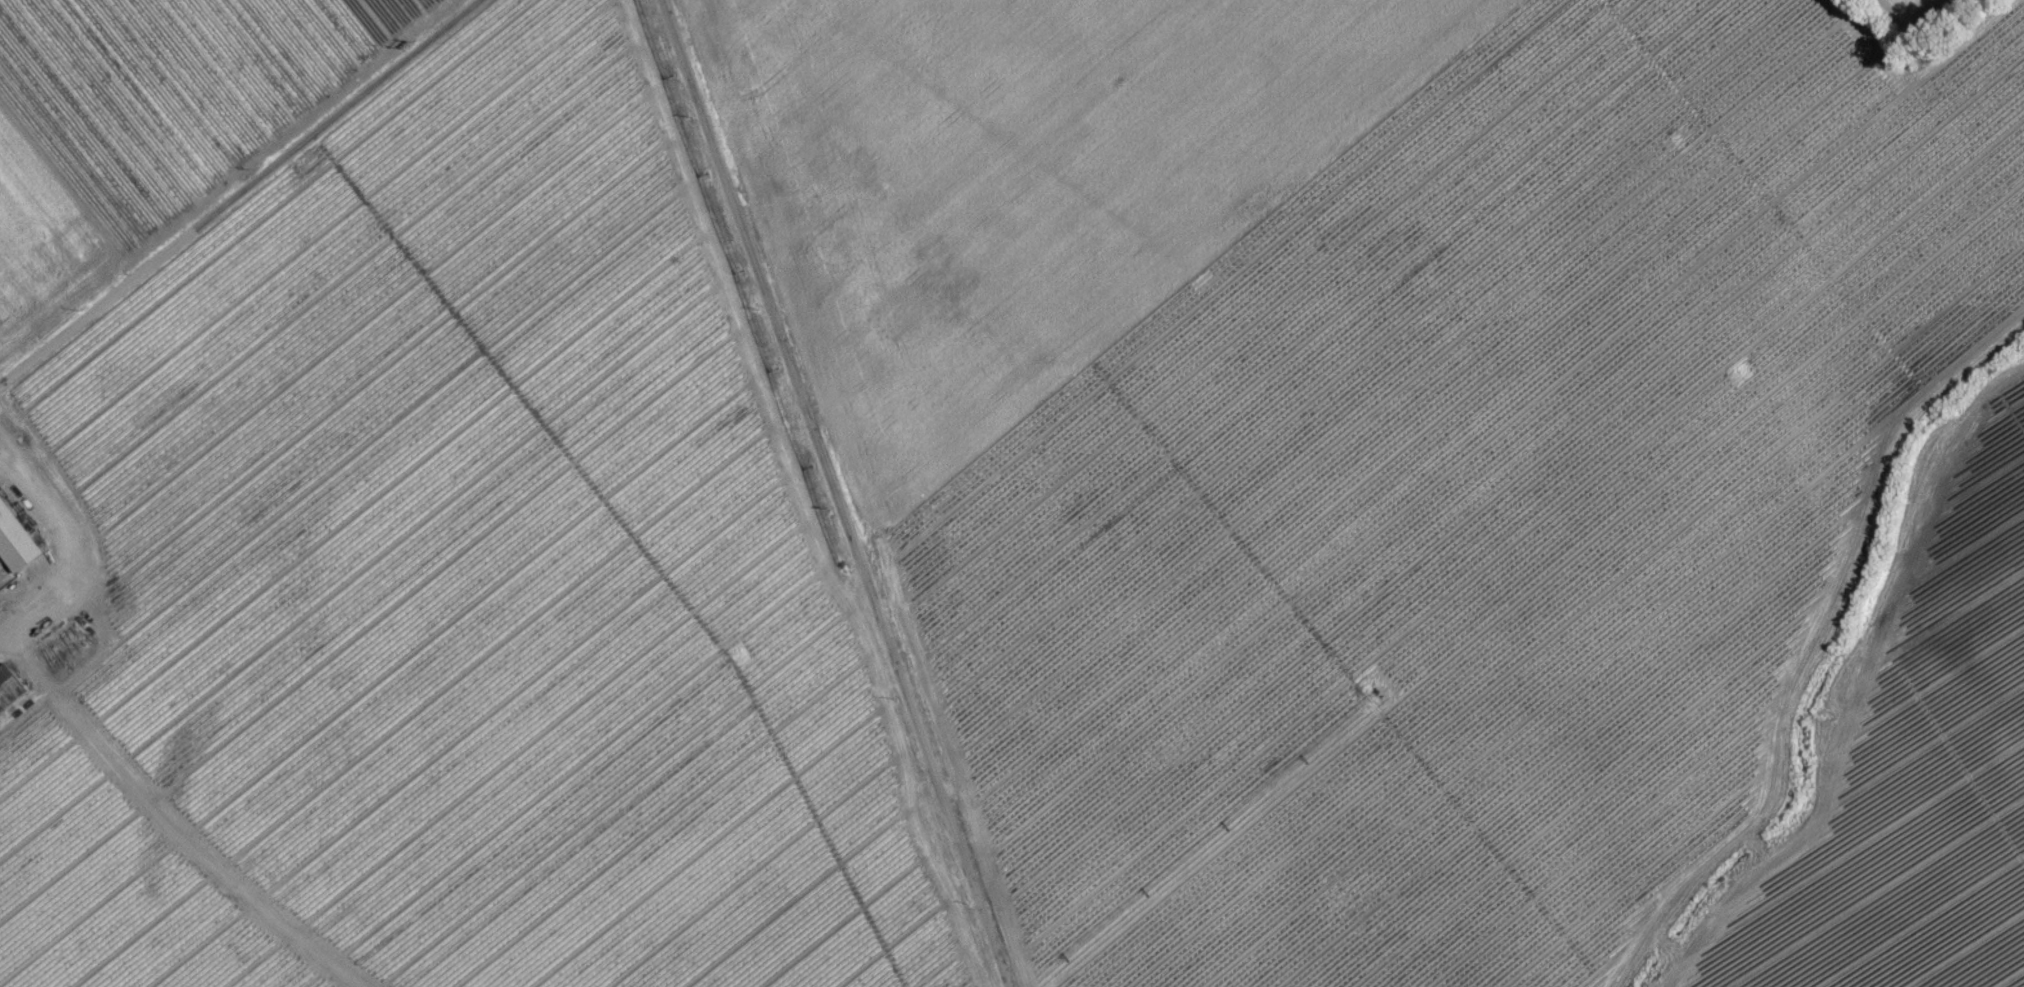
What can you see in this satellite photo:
road: (247, 191)
road: (832, 491)
building: (16, 549)
building: (9, 696)

